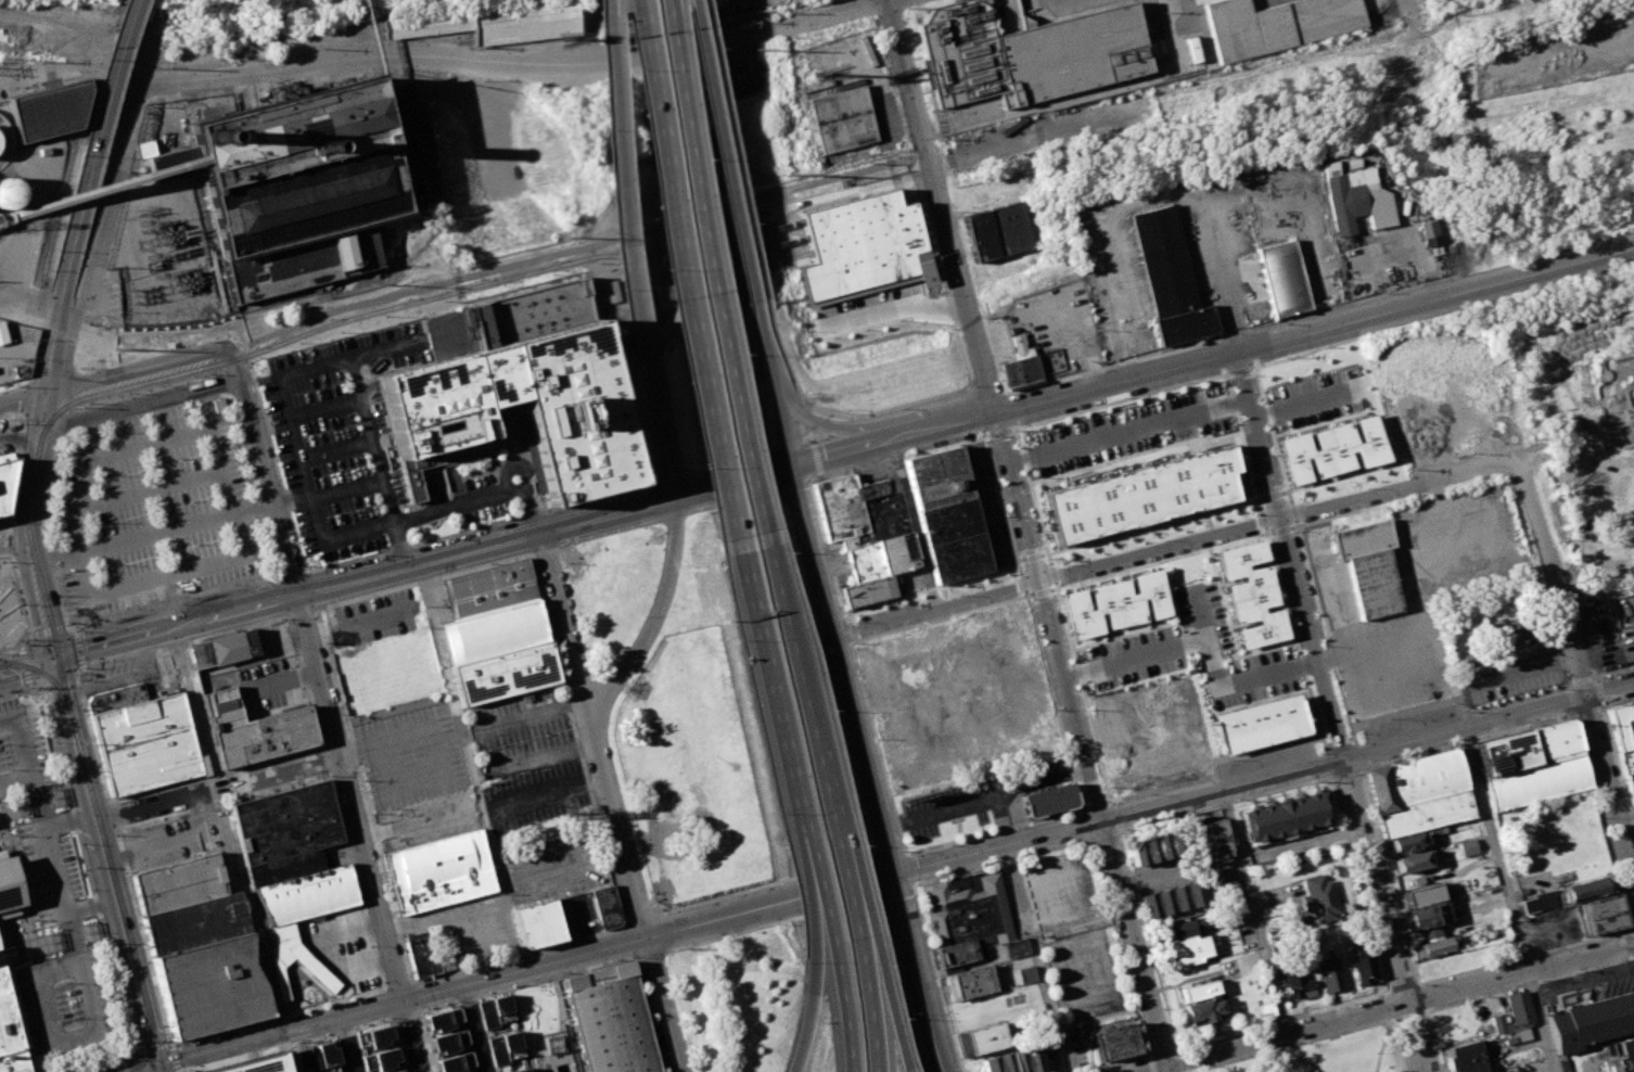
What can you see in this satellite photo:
road: (1406, 8)
building: (522, 20)
building: (427, 21)
building: (1275, 24)
building: (1192, 49)
building: (1027, 52)
road: (520, 65)
road: (69, 68)
street lamp: (618, 72)
building: (841, 104)
building: (50, 110)
building: (848, 132)
railway: (90, 144)
road: (92, 145)
railway: (101, 145)
road: (729, 149)
road: (718, 150)
road: (917, 155)
street lamp: (694, 162)
road: (609, 173)
building: (297, 183)
building: (10, 192)
building: (1349, 203)
road: (942, 205)
road: (106, 208)
railway: (838, 214)
road: (679, 222)
railway: (842, 230)
building: (998, 231)
building: (1435, 232)
railway: (728, 243)
building: (860, 243)
railway: (846, 245)
railway: (755, 253)
power substation: (167, 255)
street lamp: (655, 271)
road: (685, 275)
road: (706, 275)
building: (1169, 278)
building: (1285, 278)
road: (1435, 301)
parking lot: (865, 306)
road: (890, 306)
road: (339, 308)
building: (524, 312)
road: (1227, 312)
building: (2, 333)
road: (50, 342)
railway: (276, 343)
power substation: (16, 349)
road: (765, 353)
road: (778, 355)
street lamp: (737, 362)
road: (150, 365)
railway: (52, 368)
road: (1253, 368)
building: (1021, 369)
road: (1241, 370)
road: (1230, 371)
road: (14, 388)
park: (1613, 397)
road: (22, 398)
road: (1122, 398)
parking lot: (1319, 398)
road: (24, 399)
road: (927, 399)
road: (1307, 401)
road: (137, 404)
road: (1012, 406)
road: (323, 408)
road: (361, 408)
road: (39, 411)
road: (832, 411)
road: (807, 412)
road: (21, 416)
road: (658, 421)
road: (40, 425)
road: (829, 425)
road: (16, 430)
building: (437, 430)
parking lot: (1127, 430)
road: (1128, 432)
road: (783, 436)
road: (812, 439)
parking lot: (4, 442)
road: (146, 443)
parking lot: (354, 445)
road: (334, 449)
building: (1342, 449)
road: (297, 458)
road: (514, 465)
street lamp: (699, 467)
railway: (27, 475)
building: (936, 476)
building: (4, 482)
road: (731, 483)
railway: (21, 485)
road: (267, 485)
road: (149, 489)
road: (345, 489)
road: (1016, 493)
building: (1147, 495)
road: (1291, 495)
road: (475, 496)
parking lot: (152, 499)
road: (1274, 515)
road: (1333, 516)
road: (912, 521)
parking lot: (1, 522)
road: (34, 523)
building: (867, 523)
road: (1282, 529)
road: (7, 532)
road: (49, 533)
road: (148, 534)
building: (1364, 538)
building: (953, 539)
road: (9, 540)
road: (21, 545)
road: (484, 545)
street lamp: (783, 551)
road: (1290, 554)
road: (1164, 559)
road: (162, 576)
road: (1330, 579)
building: (1375, 583)
building: (488, 589)
building: (867, 590)
building: (1250, 594)
road: (933, 602)
building: (1114, 602)
road: (244, 607)
road: (1029, 607)
road: (314, 609)
building: (10, 611)
road: (301, 612)
road: (289, 615)
road: (653, 616)
parking lot: (371, 618)
road: (565, 626)
parking lot: (1611, 628)
building: (493, 630)
building: (1510, 630)
road: (127, 637)
street lamp: (731, 639)
road: (179, 643)
road: (1384, 645)
building: (221, 648)
road: (77, 649)
road: (1597, 649)
parking lot: (1230, 650)
building: (1468, 655)
road: (55, 656)
road: (1136, 656)
parking lot: (1135, 658)
road: (24, 660)
road: (281, 662)
road: (81, 667)
road: (25, 669)
building: (503, 671)
railway: (46, 674)
road: (1576, 674)
parking lot: (123, 675)
road: (1594, 678)
road: (1223, 682)
road: (1598, 691)
road: (770, 693)
road: (1568, 697)
building: (115, 698)
road: (802, 698)
building: (1632, 705)
street lamp: (825, 707)
road: (1479, 707)
building: (1259, 723)
parking lot: (1412, 723)
building: (254, 730)
parking lot: (524, 733)
building: (1623, 733)
road: (20, 739)
building: (1554, 740)
road: (1339, 741)
road: (1353, 741)
building: (144, 743)
building: (1505, 752)
parking lot: (409, 753)
road: (88, 756)
road: (1356, 756)
road: (73, 758)
parking lot: (1266, 760)
road: (1617, 766)
road: (865, 769)
road: (14, 777)
road: (1262, 778)
building: (1535, 781)
building: (1630, 784)
building: (1379, 788)
road: (215, 789)
building: (1425, 793)
parking lot: (534, 795)
road: (983, 800)
building: (1048, 800)
street lamp: (773, 813)
building: (1633, 814)
building: (1286, 816)
parking lot: (425, 819)
road: (1000, 819)
road: (1100, 819)
road: (1601, 820)
road: (66, 822)
building: (284, 822)
road: (618, 828)
road: (359, 831)
road: (841, 833)
building: (1209, 840)
road: (166, 841)
road: (47, 842)
parking lot: (166, 842)
building: (1405, 842)
road: (808, 845)
building: (1466, 846)
road: (803, 847)
building: (1156, 847)
road: (82, 851)
building: (1412, 860)
parking lot: (553, 866)
building: (283, 868)
building: (439, 871)
road: (1388, 876)
building: (179, 883)
building: (9, 884)
road: (909, 884)
building: (1584, 889)
road: (861, 891)
road: (847, 894)
building: (1422, 894)
building: (307, 895)
parking lot: (1061, 895)
railway: (118, 896)
building: (1316, 897)
building: (1172, 898)
road: (1506, 898)
road: (824, 899)
building: (1544, 899)
road: (807, 902)
building: (1529, 905)
building: (605, 906)
building: (968, 908)
road: (1254, 910)
road: (1384, 914)
building: (1601, 914)
parking lot: (53, 915)
parking lot: (576, 915)
building: (1427, 917)
building: (194, 923)
building: (538, 923)
parking lot: (464, 927)
road: (1633, 927)
building: (1184, 928)
parking lot: (1548, 928)
road: (1539, 930)
road: (1632, 939)
building: (1437, 946)
building: (1016, 947)
building: (1187, 949)
building: (956, 953)
building: (422, 955)
road: (1523, 956)
road: (1035, 957)
road: (131, 960)
street lamp: (799, 960)
building: (279, 961)
building: (1361, 963)
road: (407, 965)
road: (523, 968)
parking lot: (1081, 973)
building: (1328, 973)
building: (1025, 974)
road: (410, 982)
building: (968, 982)
building: (1294, 982)
road: (1530, 982)
road: (396, 984)
building: (210, 985)
road: (1400, 986)
parking lot: (1587, 986)
building: (1197, 990)
road: (1420, 995)
road: (665, 1003)
road: (867, 1004)
road: (886, 1004)
road: (843, 1007)
road: (1383, 1008)
building: (1265, 1009)
road: (809, 1010)
building: (1201, 1010)
building: (496, 1011)
building: (1514, 1012)
road: (649, 1013)
road: (1408, 1013)
road: (277, 1014)
road: (92, 1017)
street lamp: (899, 1018)
building: (8, 1019)
road: (1281, 1019)
building: (444, 1020)
building: (610, 1020)
building: (1591, 1021)
road: (567, 1023)
road: (475, 1028)
building: (986, 1036)
building: (374, 1038)
road: (1430, 1038)
road: (1382, 1039)
building: (1113, 1042)
building: (450, 1043)
road: (346, 1044)
building: (552, 1044)
road: (1401, 1044)
road: (1289, 1045)
road: (154, 1047)
building: (506, 1047)
building: (1620, 1047)
road: (281, 1052)
park: (1327, 1052)
road: (174, 1057)
building: (330, 1057)
building: (1464, 1057)
road: (98, 1060)
building: (305, 1060)
building: (1013, 1060)
building: (381, 1061)
building: (13, 1062)
traffic signals: (157, 1063)
building: (457, 1063)
building: (1621, 1063)
road: (137, 1064)
building: (247, 1064)
road: (141, 1068)
road: (158, 1068)
road: (1165, 1068)
building: (521, 1070)
road: (175, 1071)
building: (399, 1071)
building: (1493, 1071)

